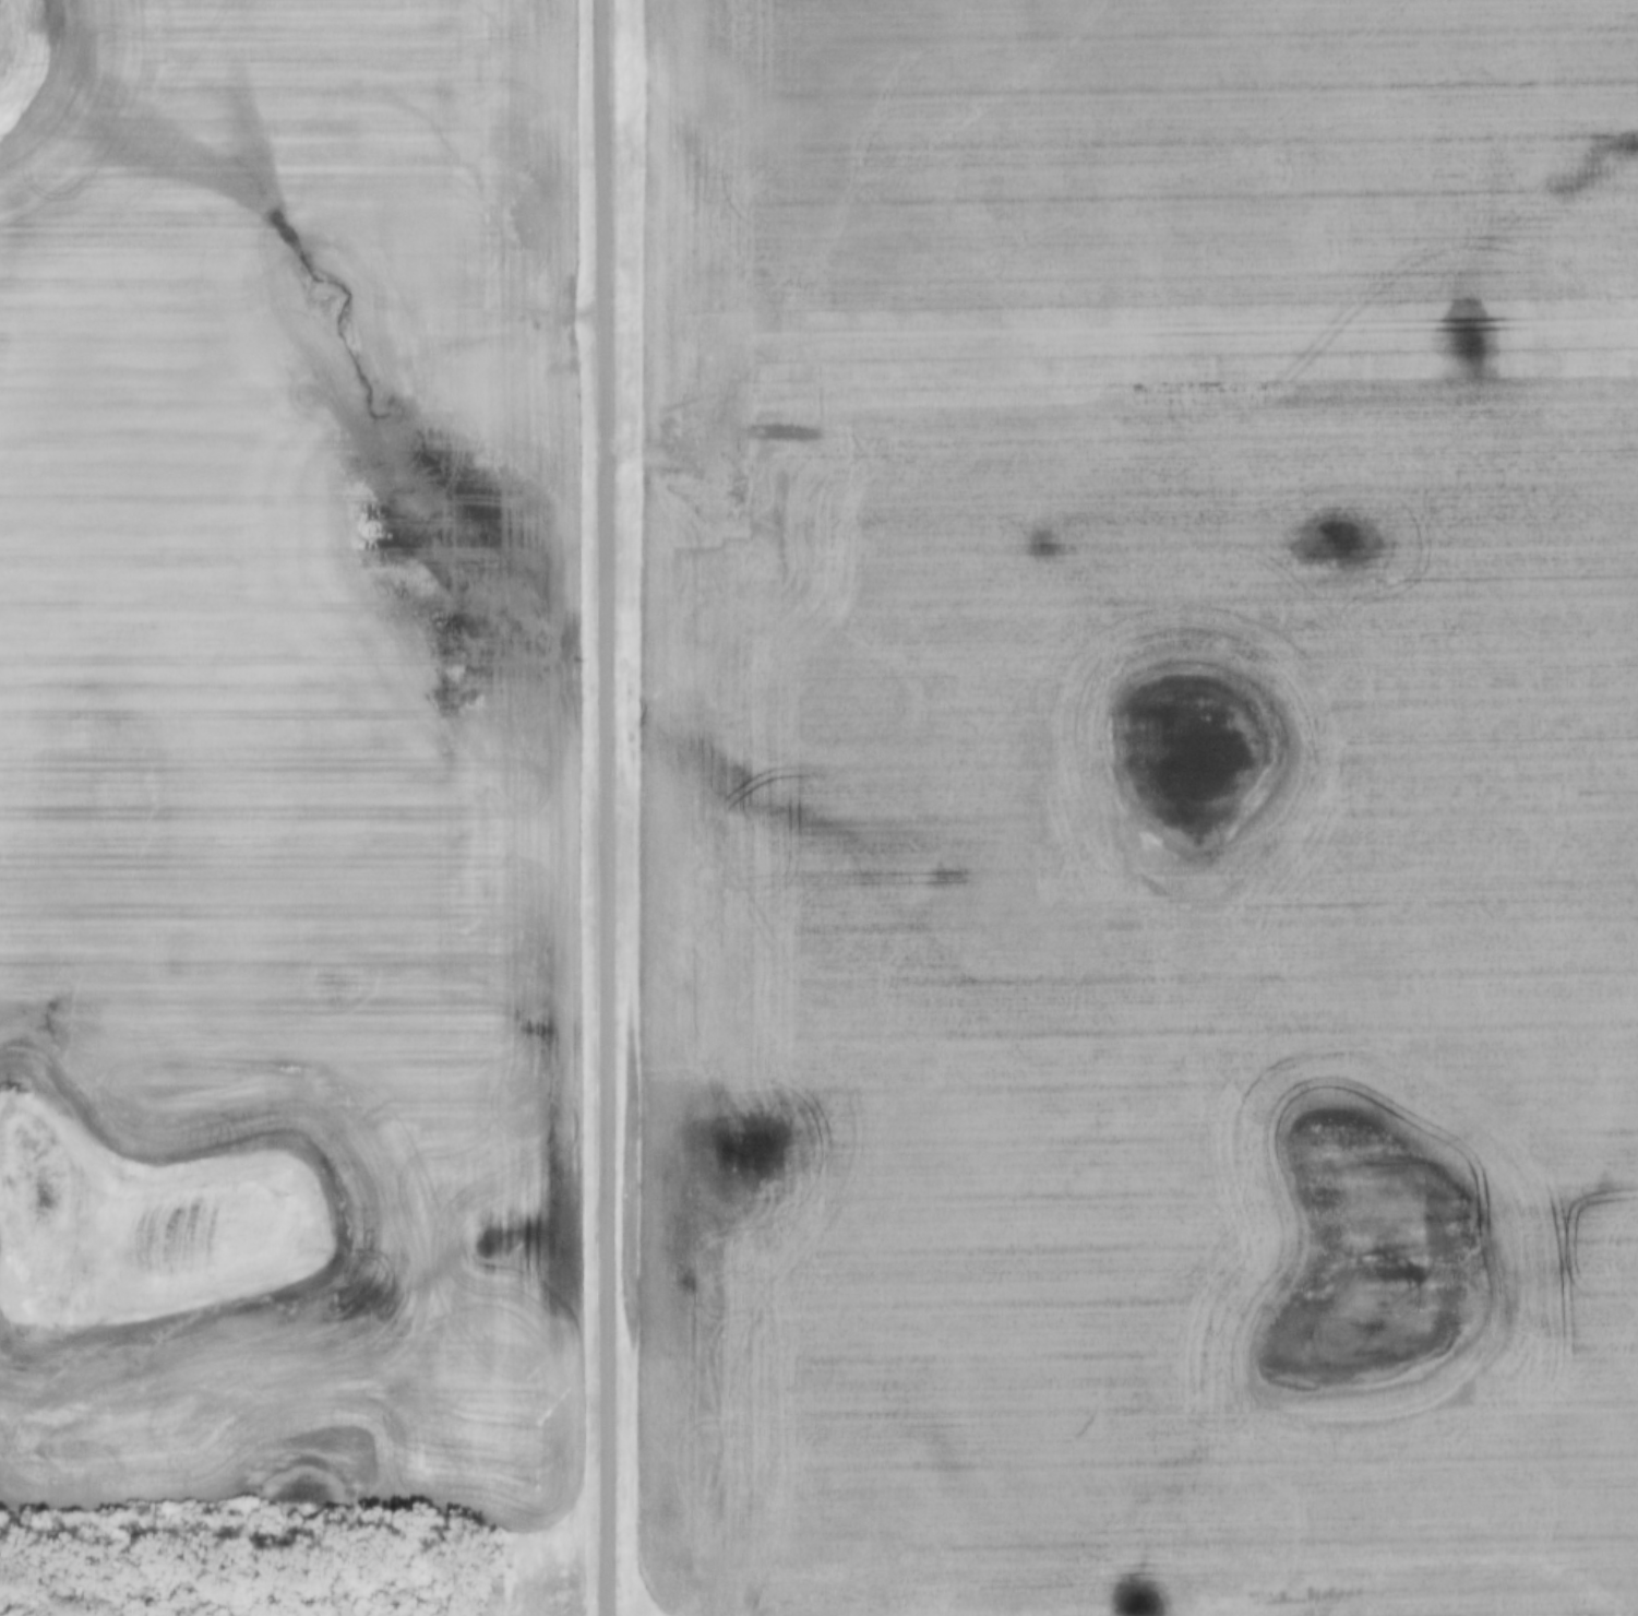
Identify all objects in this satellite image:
road: (602, 807)

